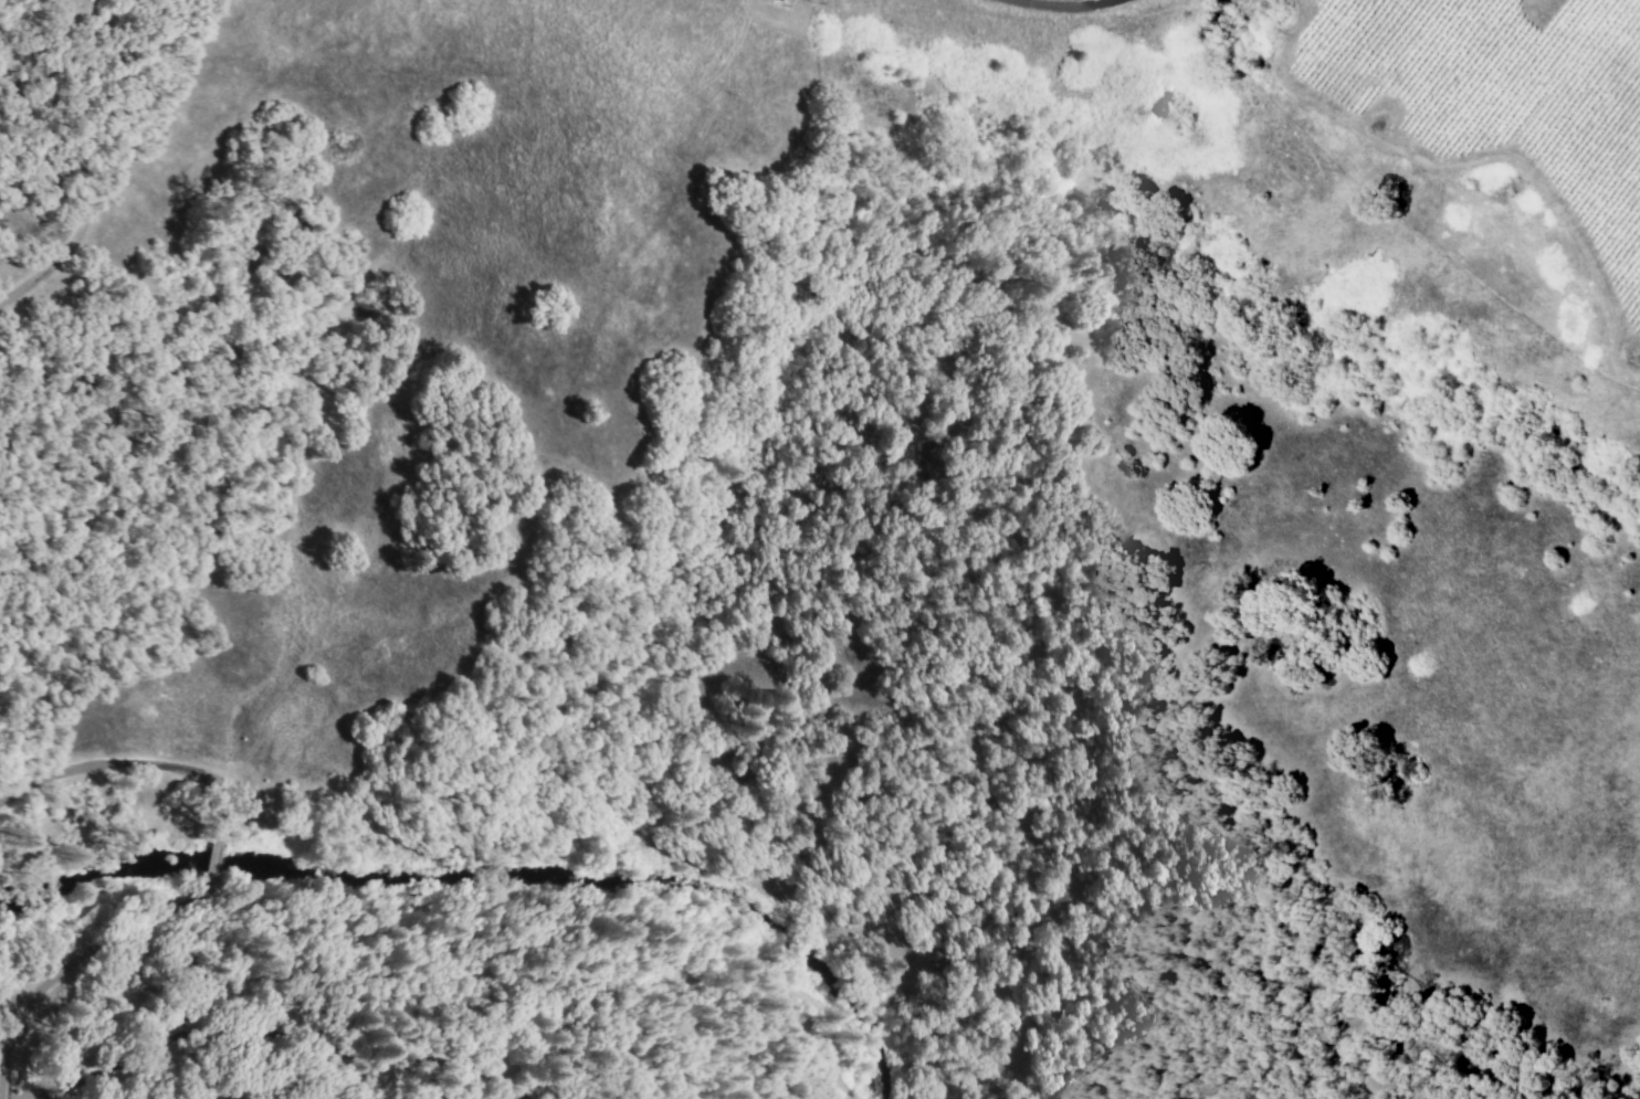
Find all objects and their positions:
road: (1049, 4)
road: (124, 156)
road: (134, 765)
road: (214, 868)
river: (476, 871)
road: (67, 965)

